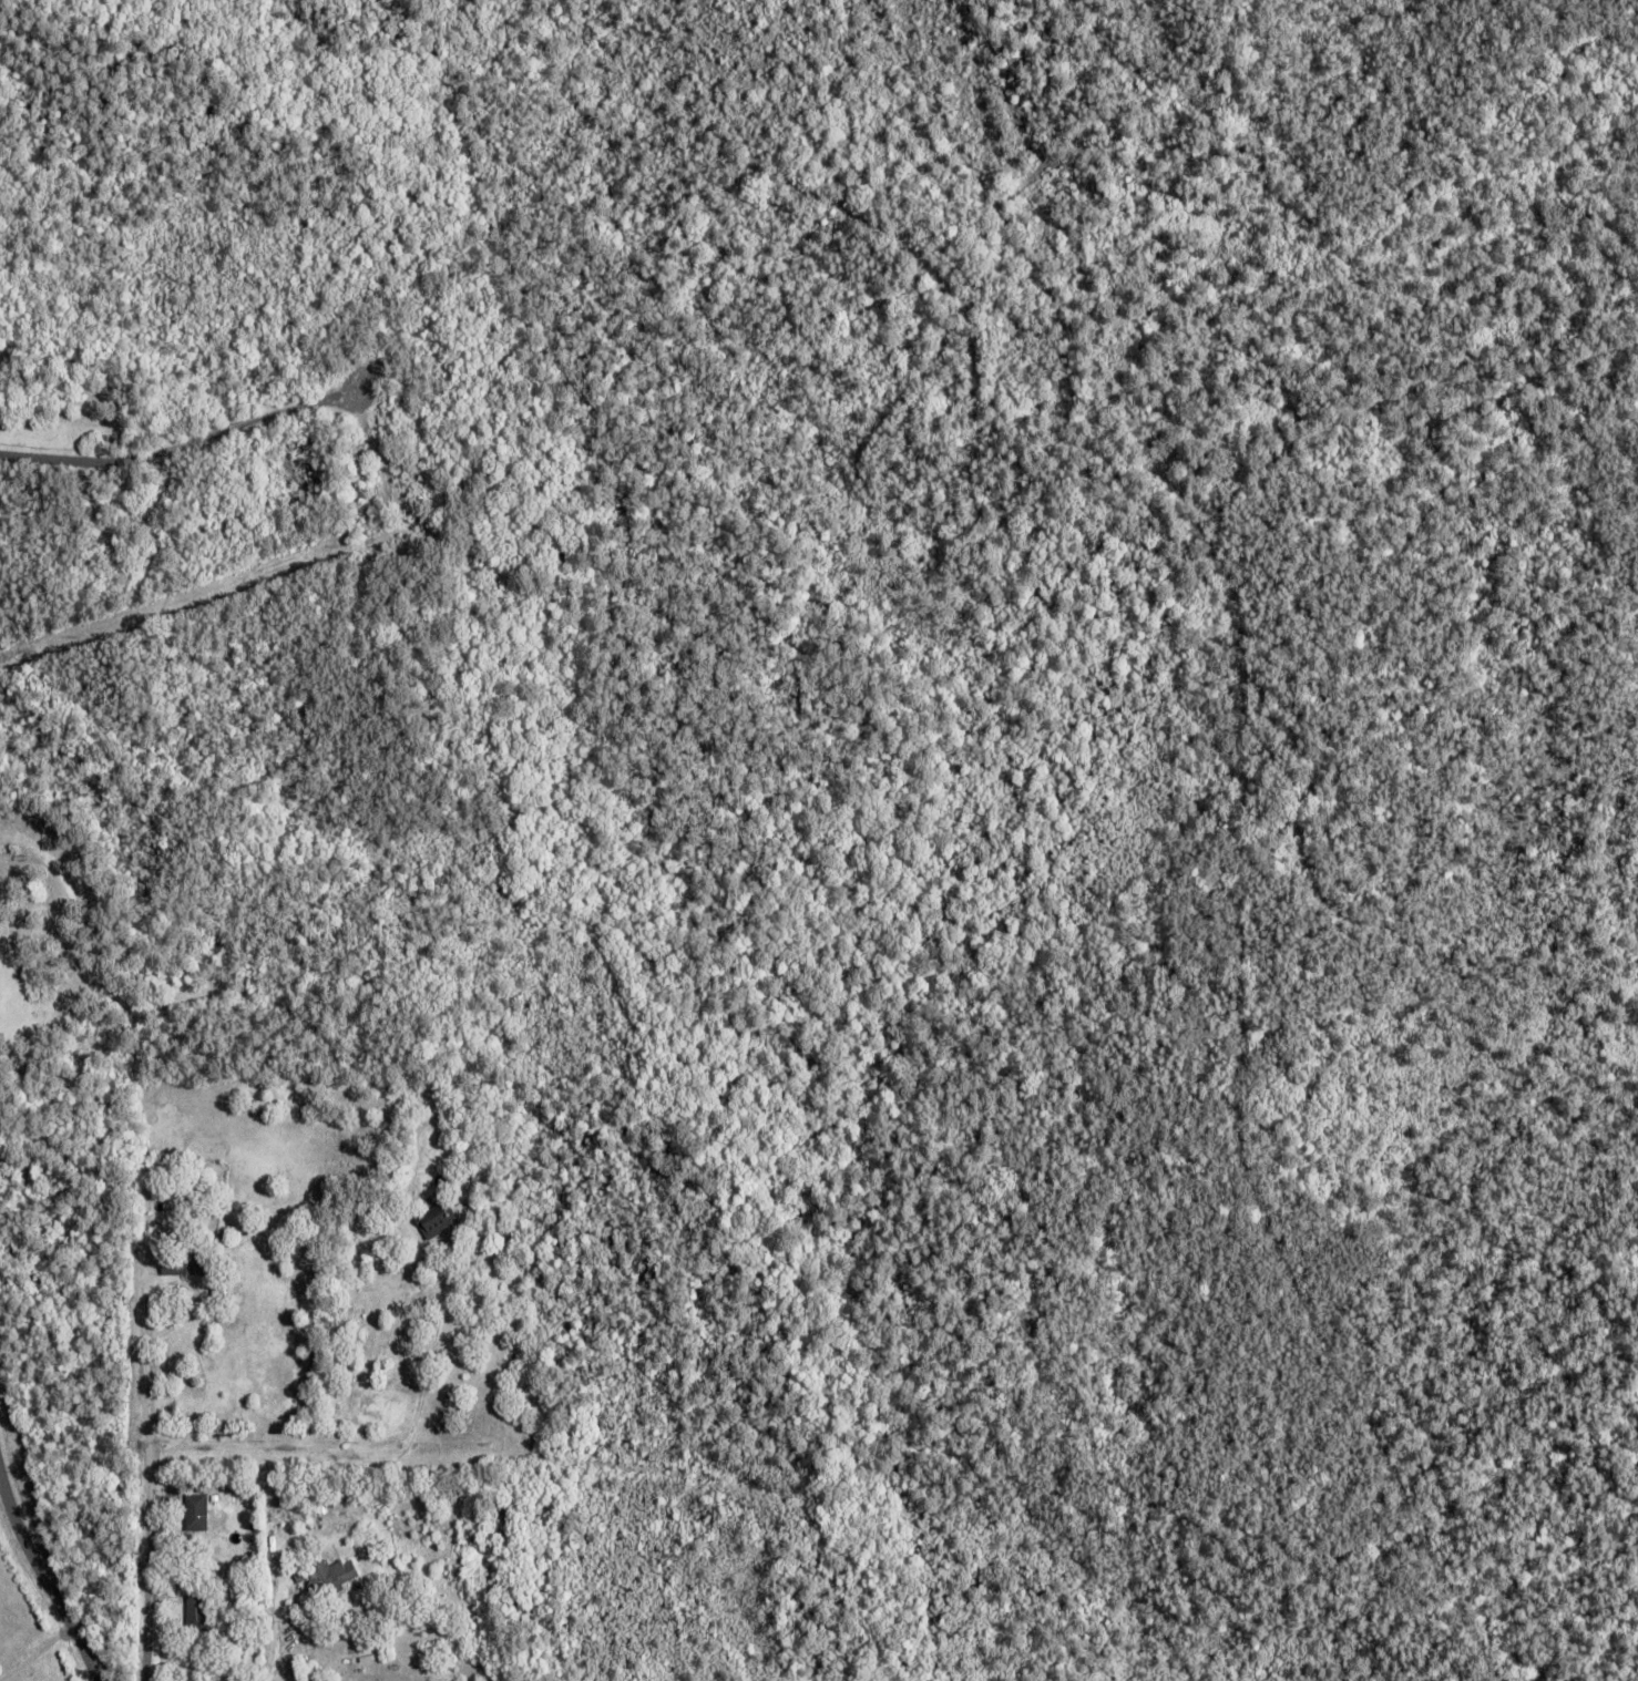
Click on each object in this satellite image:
road: (255, 419)
building: (163, 498)
building: (411, 544)
building: (154, 554)
building: (349, 571)
road: (1245, 817)
building: (437, 1220)
building: (223, 1239)
building: (186, 1264)
building: (532, 1400)
road: (209, 1459)
building: (337, 1503)
building: (197, 1513)
building: (290, 1513)
building: (364, 1559)
building: (327, 1576)
road: (48, 1579)
building: (198, 1612)
building: (377, 1673)

